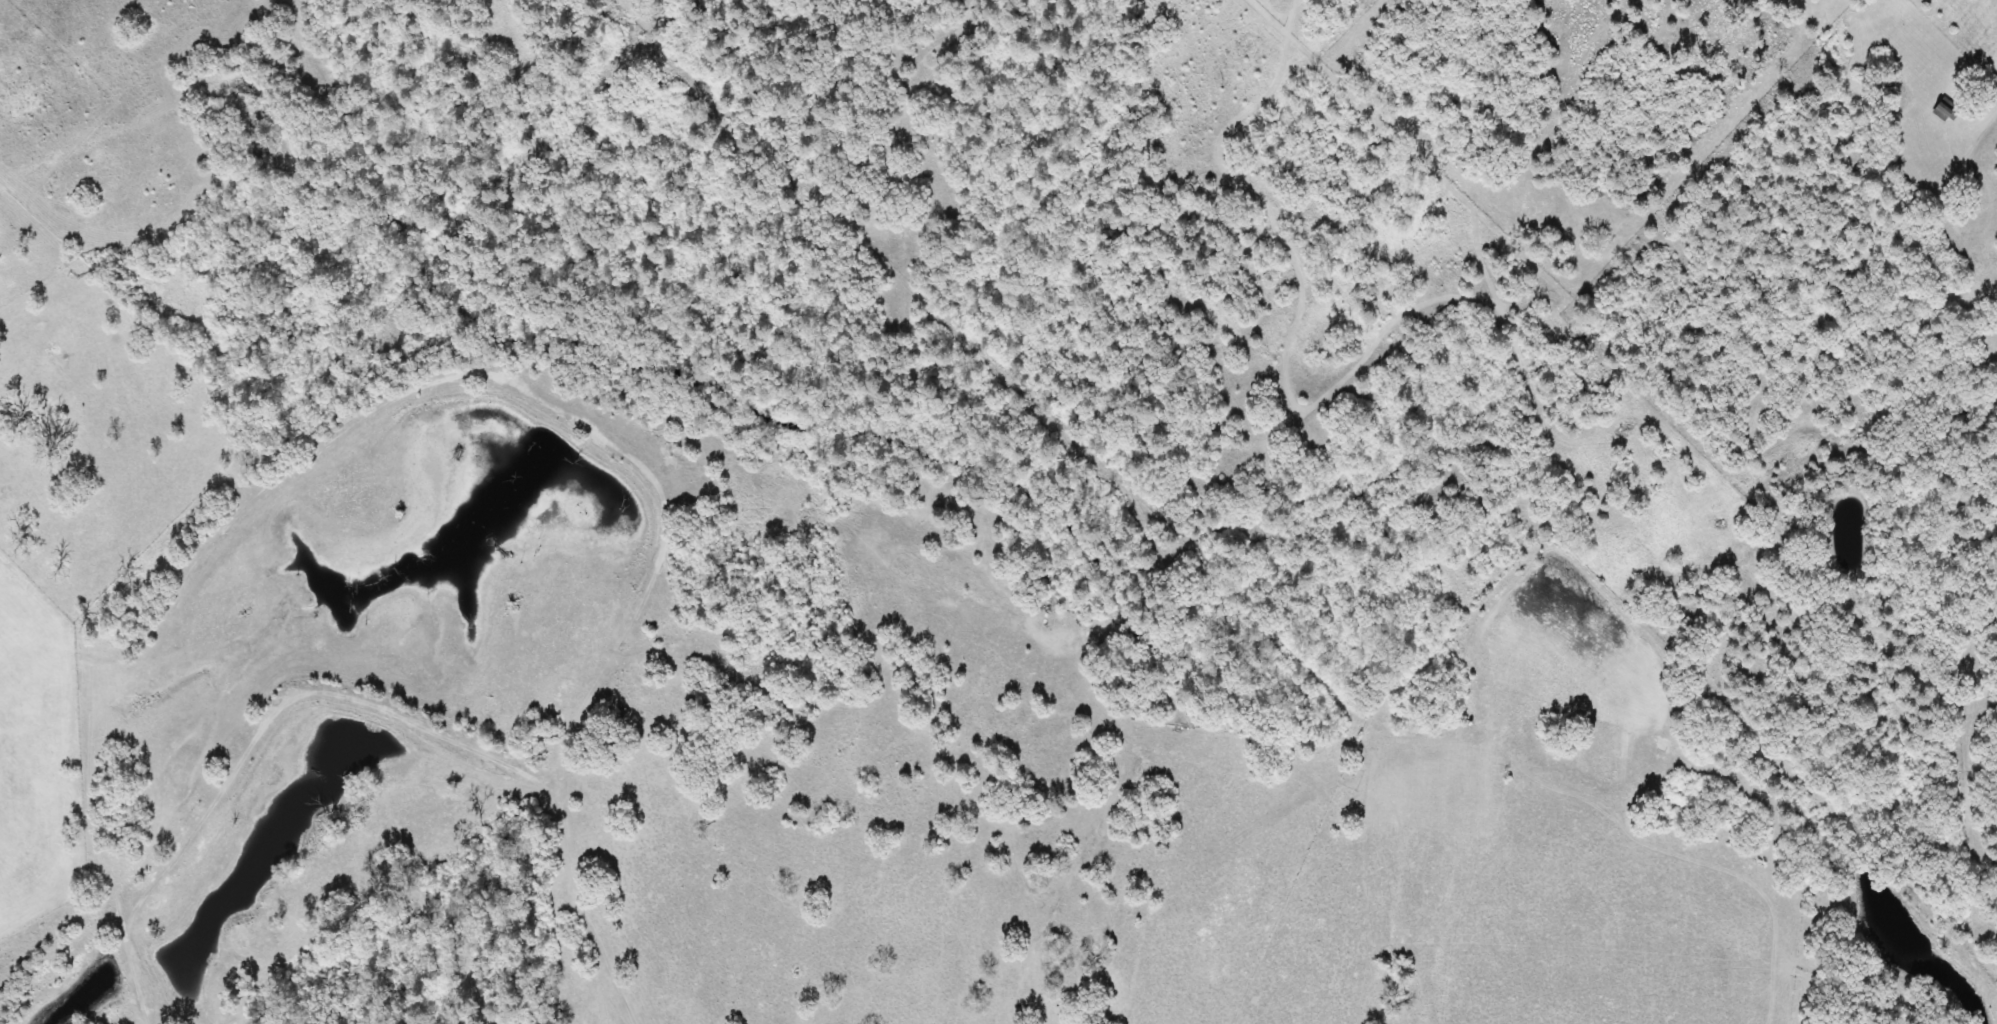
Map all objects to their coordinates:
building: (1942, 110)
road: (628, 459)
road: (261, 728)

